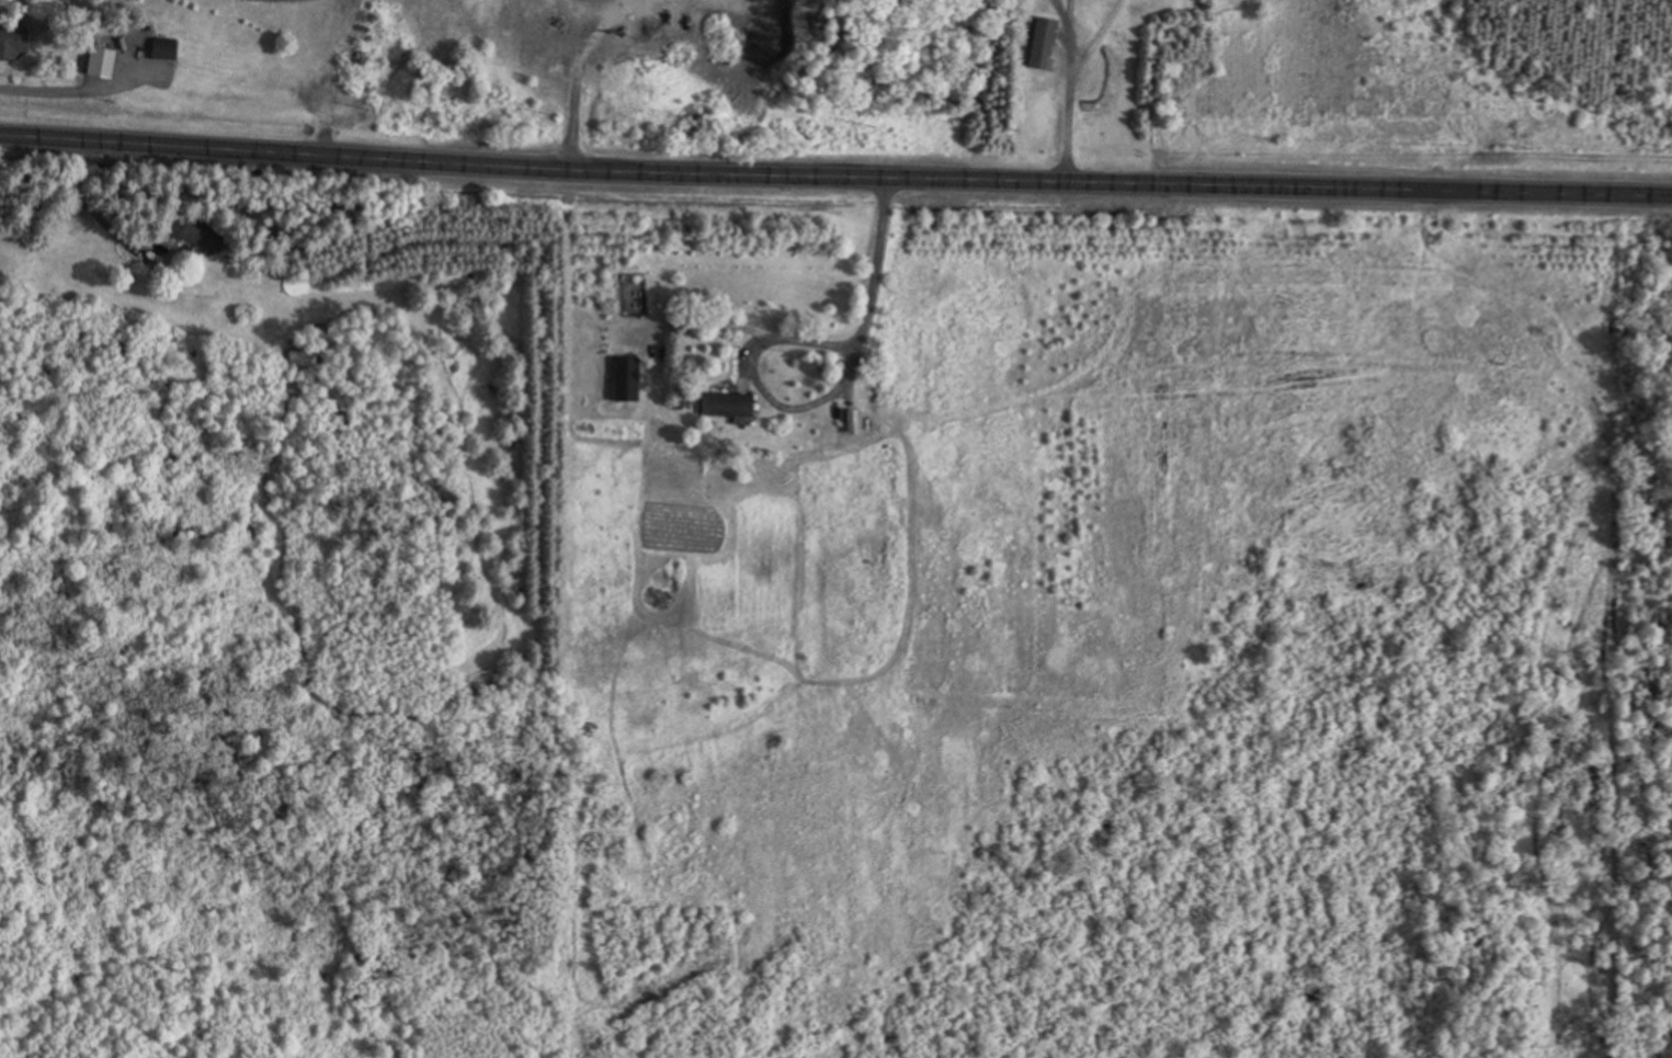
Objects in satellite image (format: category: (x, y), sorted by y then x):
building: (14, 39)
building: (1048, 43)
building: (167, 47)
building: (104, 60)
road: (1064, 82)
road: (282, 143)
road: (1117, 167)
building: (196, 230)
road: (830, 338)
building: (302, 356)
building: (629, 378)
building: (733, 405)

